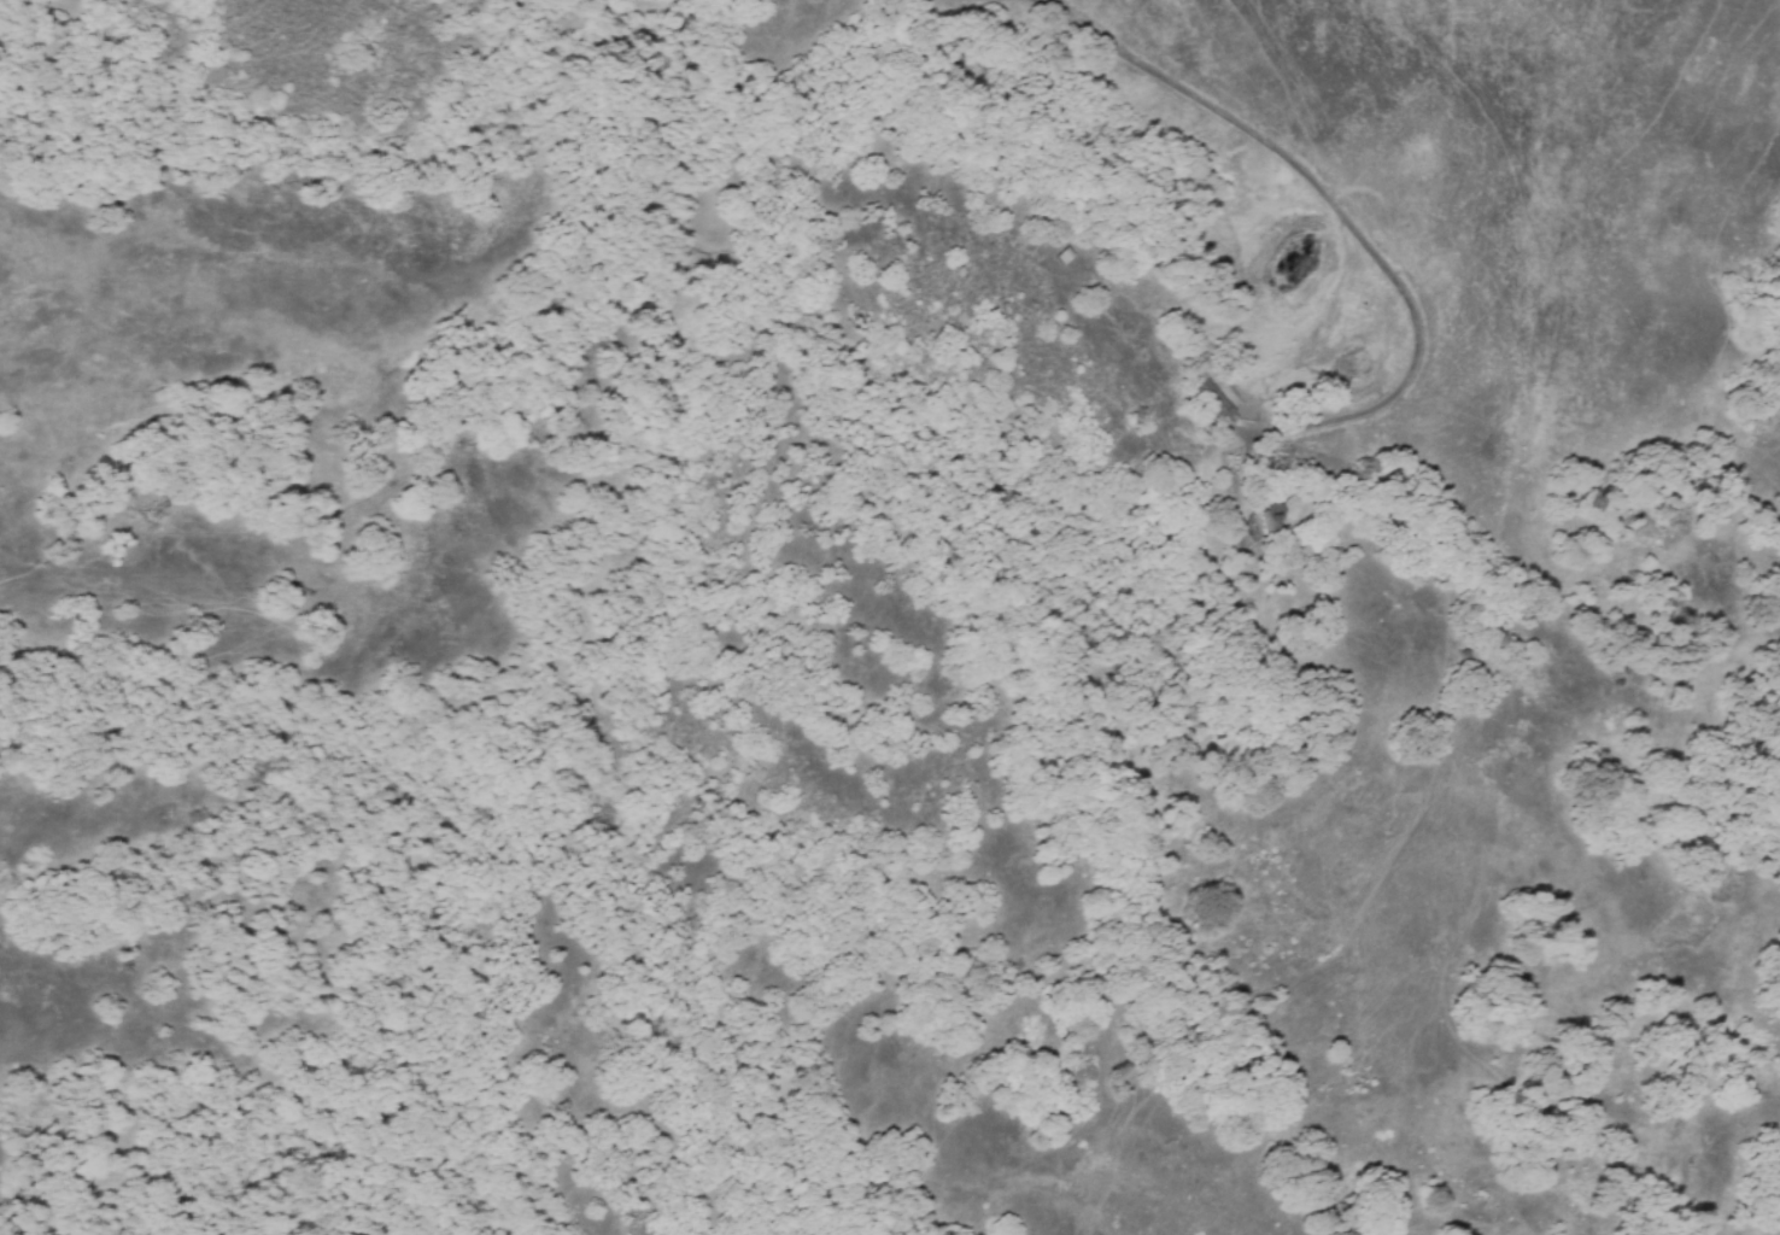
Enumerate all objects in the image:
building: (1267, 520)

